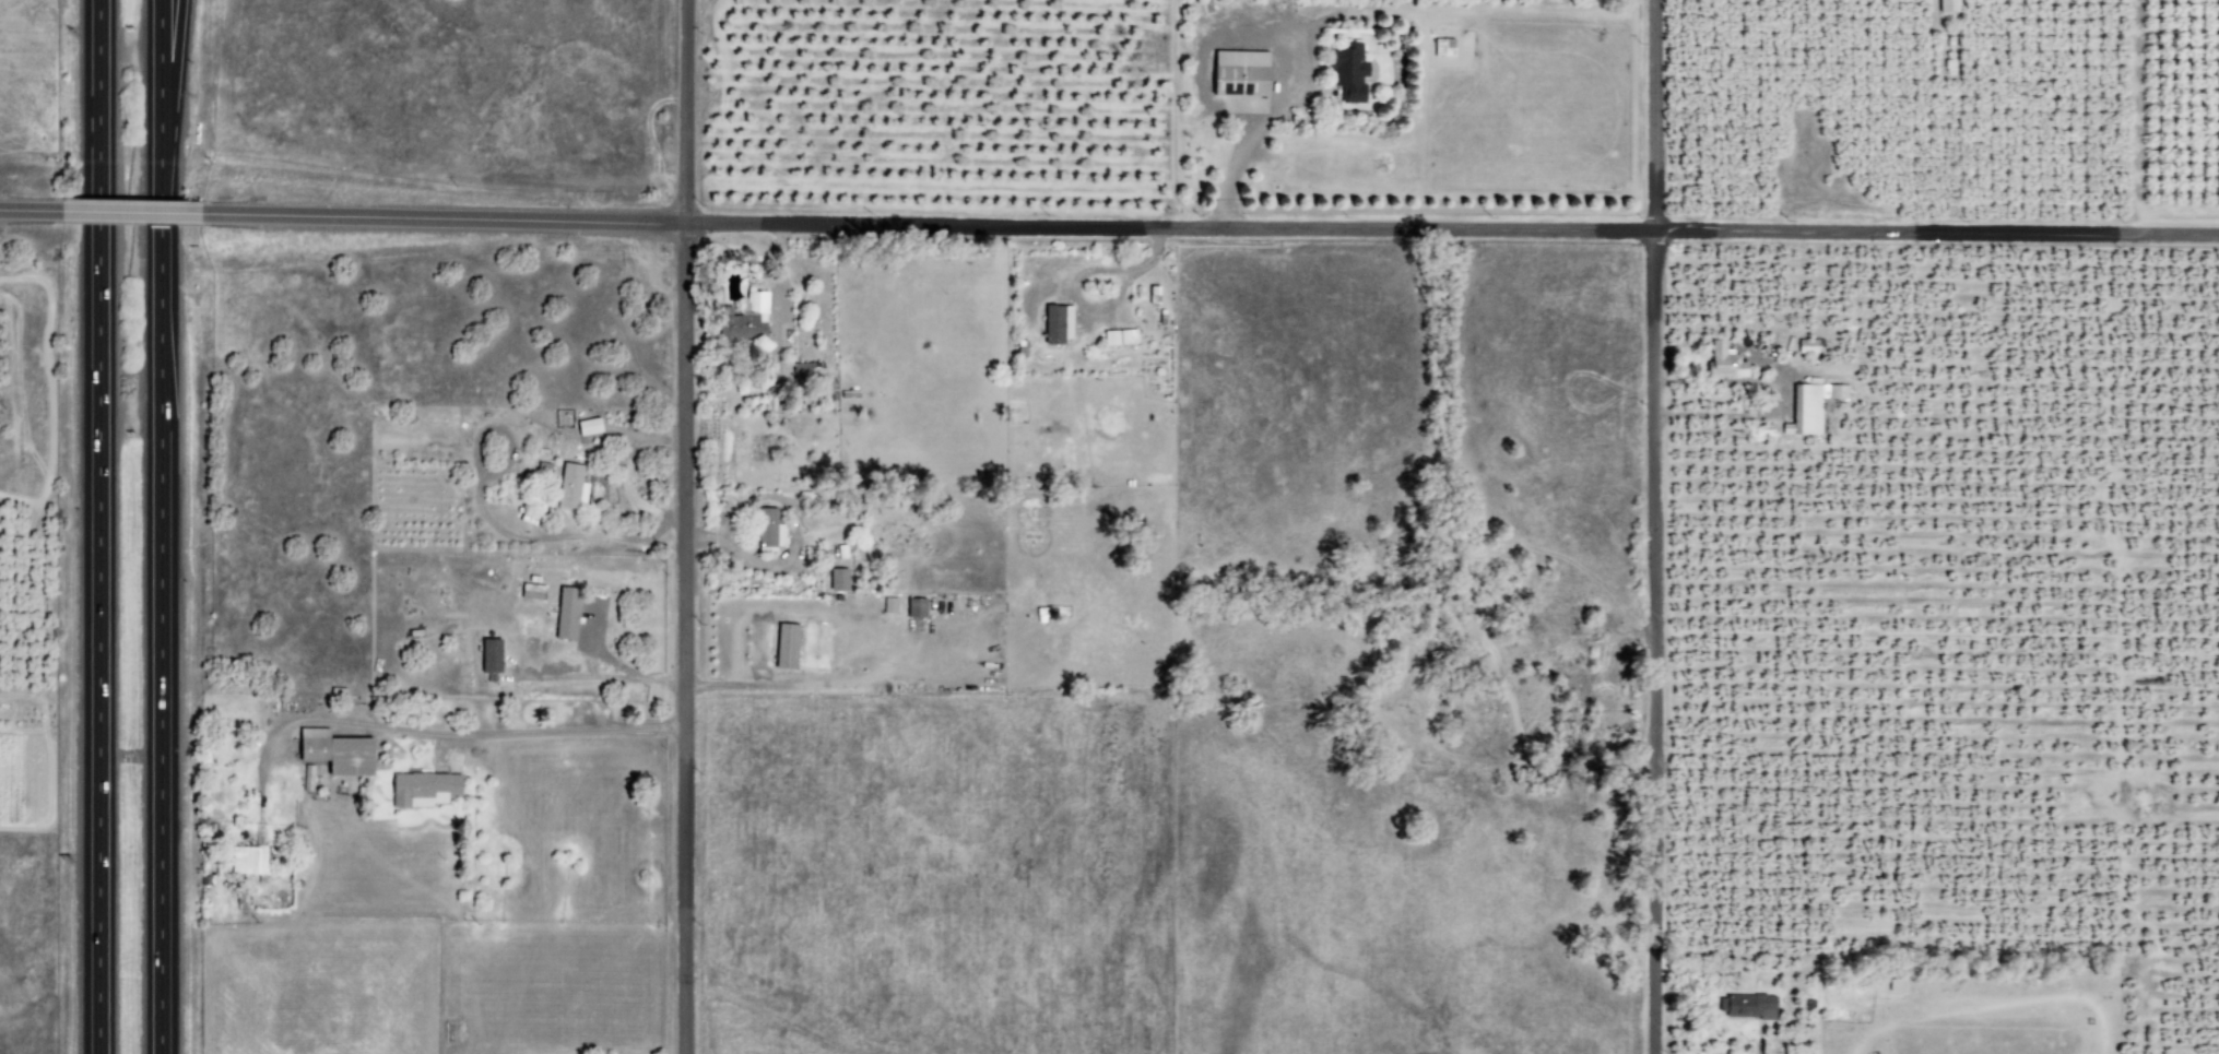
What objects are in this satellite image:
building: (1947, 5)
building: (1343, 71)
building: (1234, 73)
road: (169, 90)
road: (28, 211)
road: (128, 213)
road: (1208, 227)
building: (748, 319)
building: (1060, 324)
building: (1119, 337)
building: (1721, 362)
building: (808, 368)
building: (1806, 407)
building: (589, 426)
road: (93, 526)
road: (158, 526)
road: (678, 526)
road: (1651, 526)
building: (770, 529)
building: (840, 580)
building: (888, 605)
building: (918, 608)
building: (569, 614)
building: (789, 647)
building: (493, 656)
road: (602, 677)
road: (488, 733)
building: (341, 753)
building: (427, 790)
building: (249, 860)
building: (1743, 1006)

